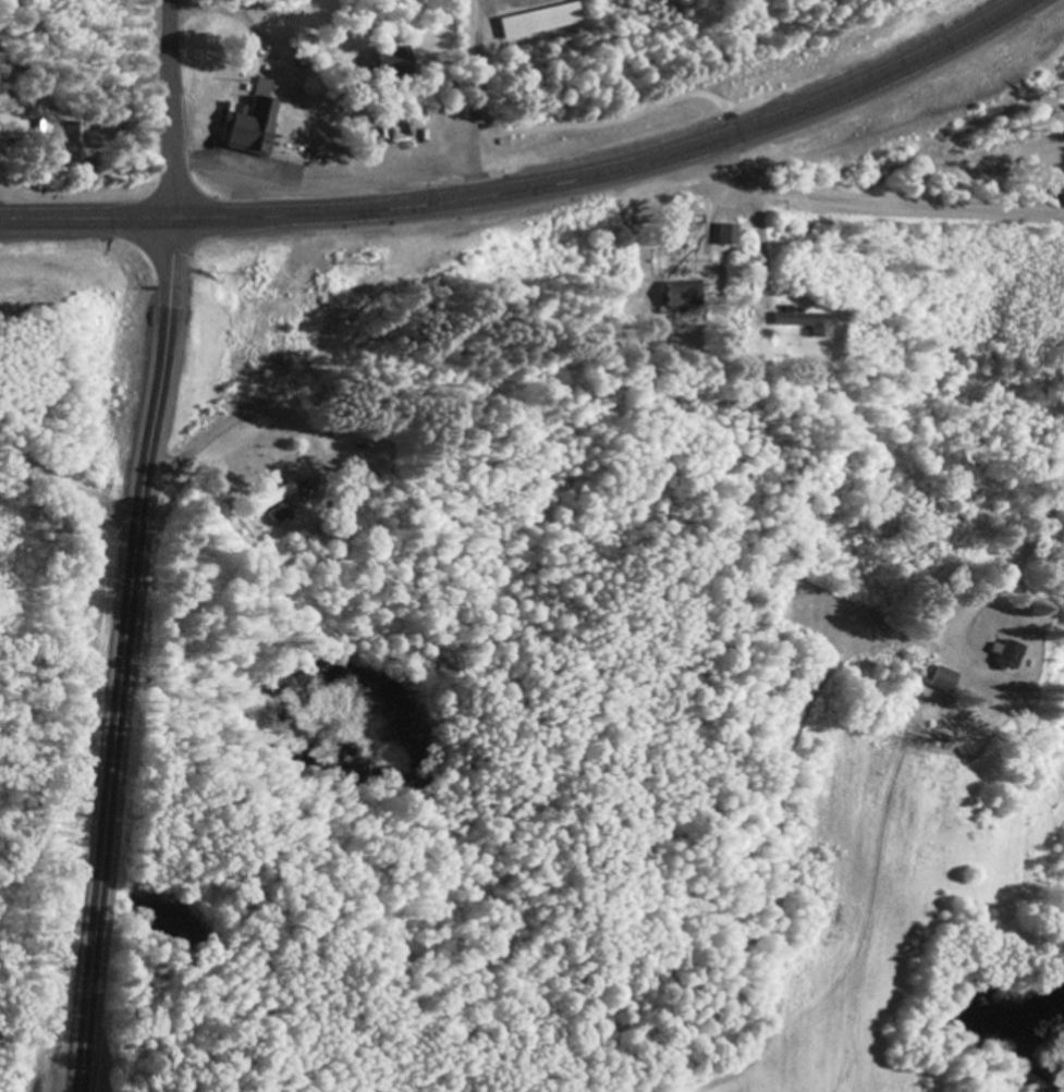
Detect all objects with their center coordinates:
building: (540, 21)
building: (307, 49)
building: (395, 59)
road: (184, 106)
building: (252, 122)
building: (77, 146)
road: (531, 185)
road: (860, 208)
building: (727, 235)
building: (684, 295)
building: (809, 323)
building: (280, 505)
road: (126, 652)
building: (1013, 655)
building: (943, 680)

